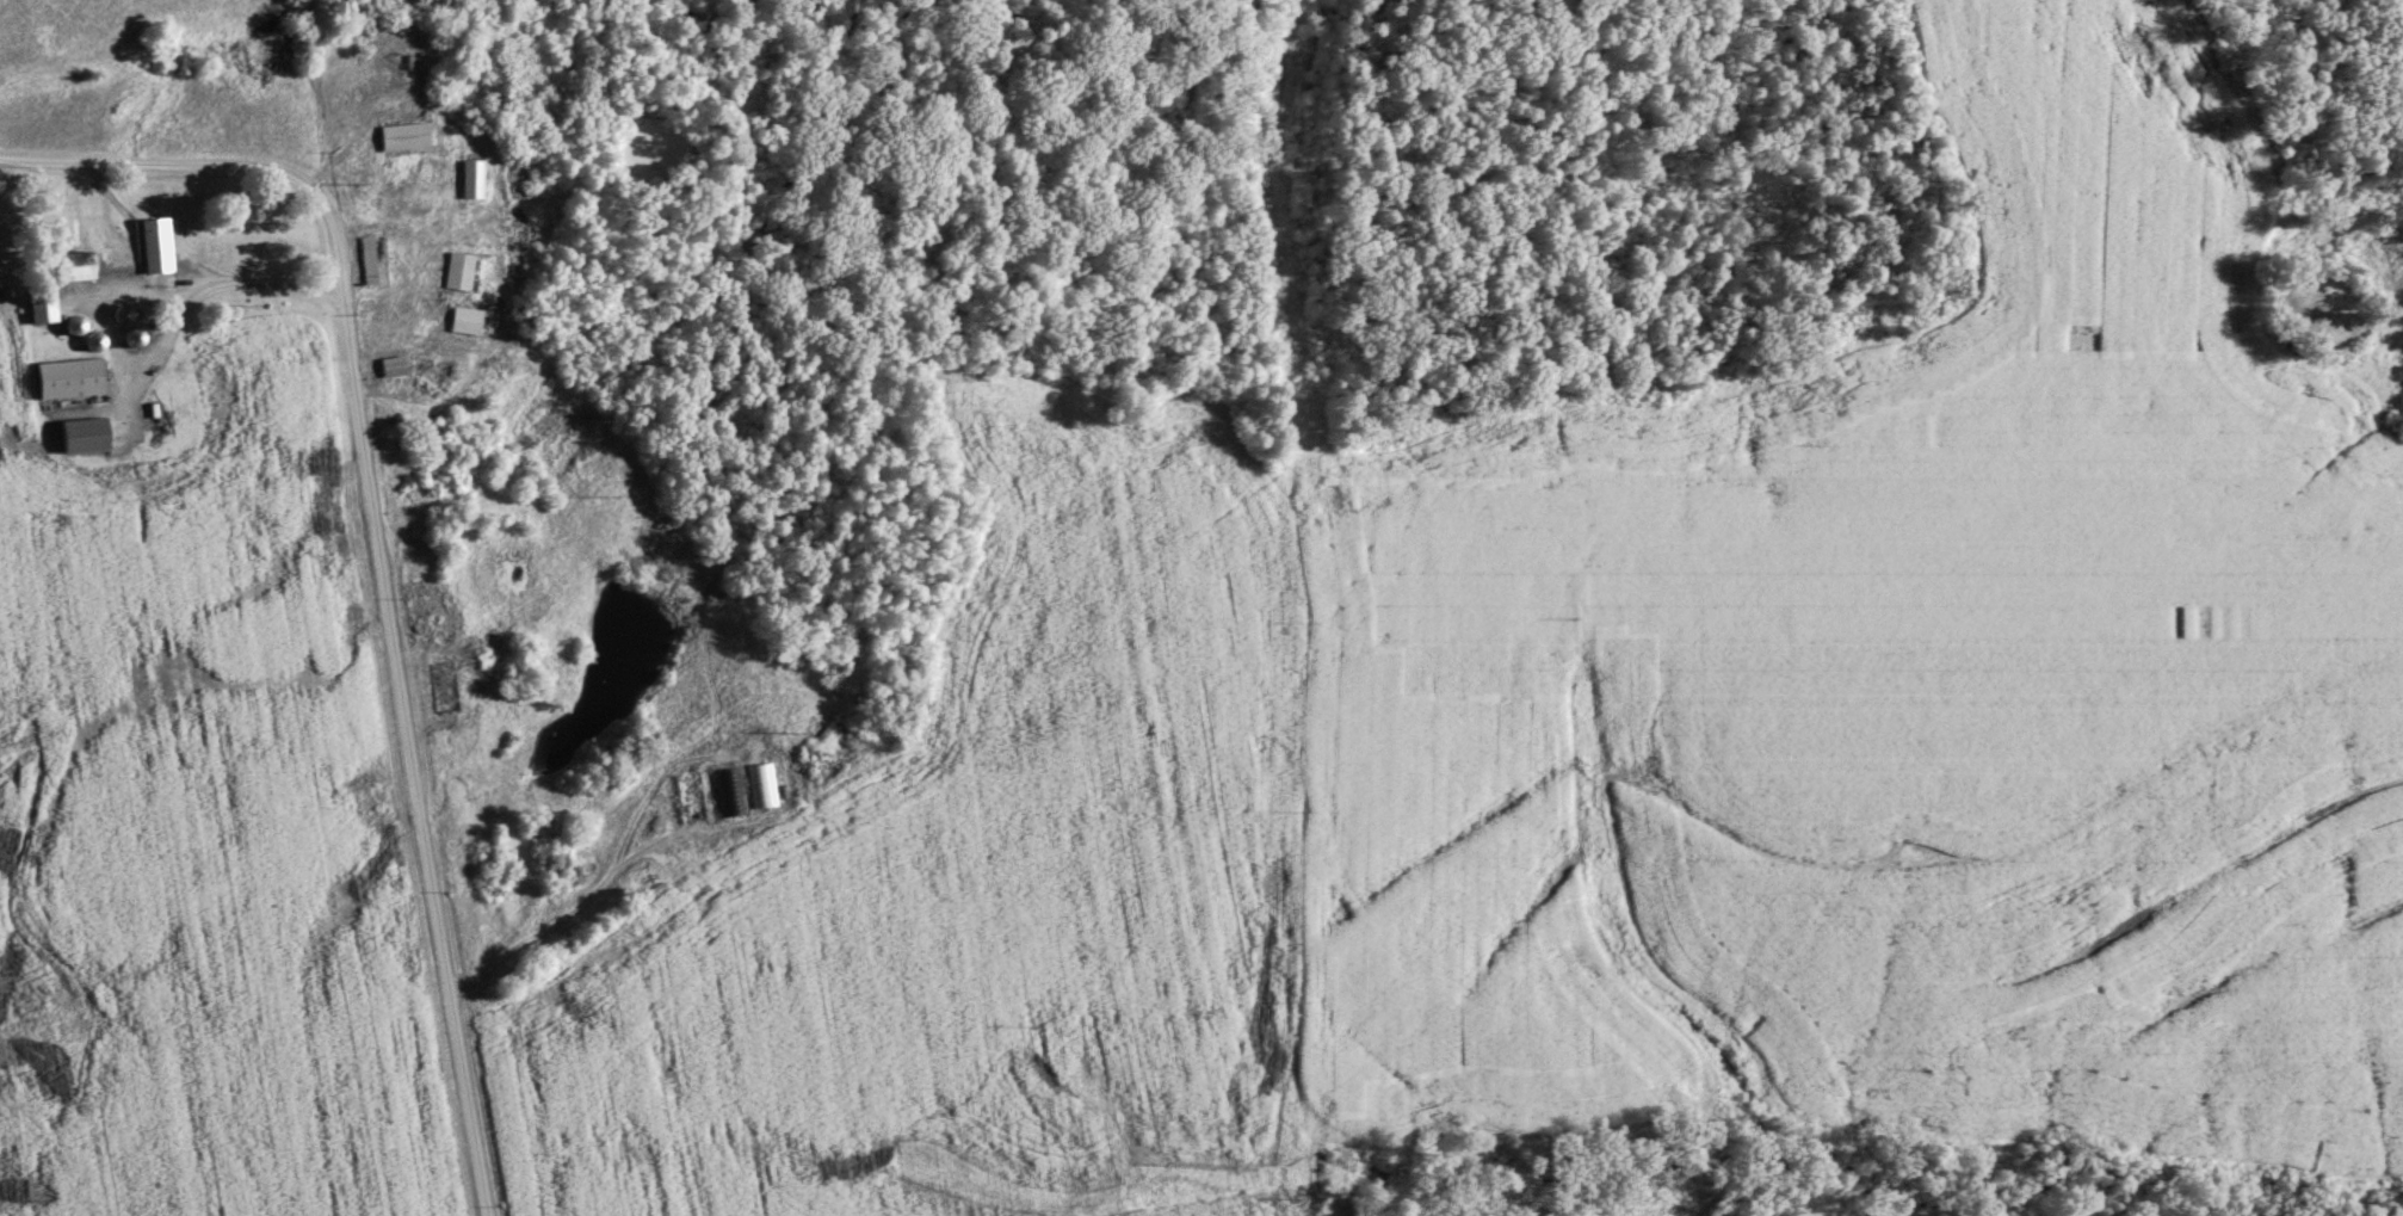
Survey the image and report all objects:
building: (403, 135)
building: (471, 177)
building: (154, 243)
building: (367, 258)
building: (70, 265)
building: (458, 270)
road: (186, 288)
building: (38, 302)
building: (464, 319)
building: (391, 364)
building: (64, 377)
building: (80, 433)
road: (377, 541)
building: (760, 783)

